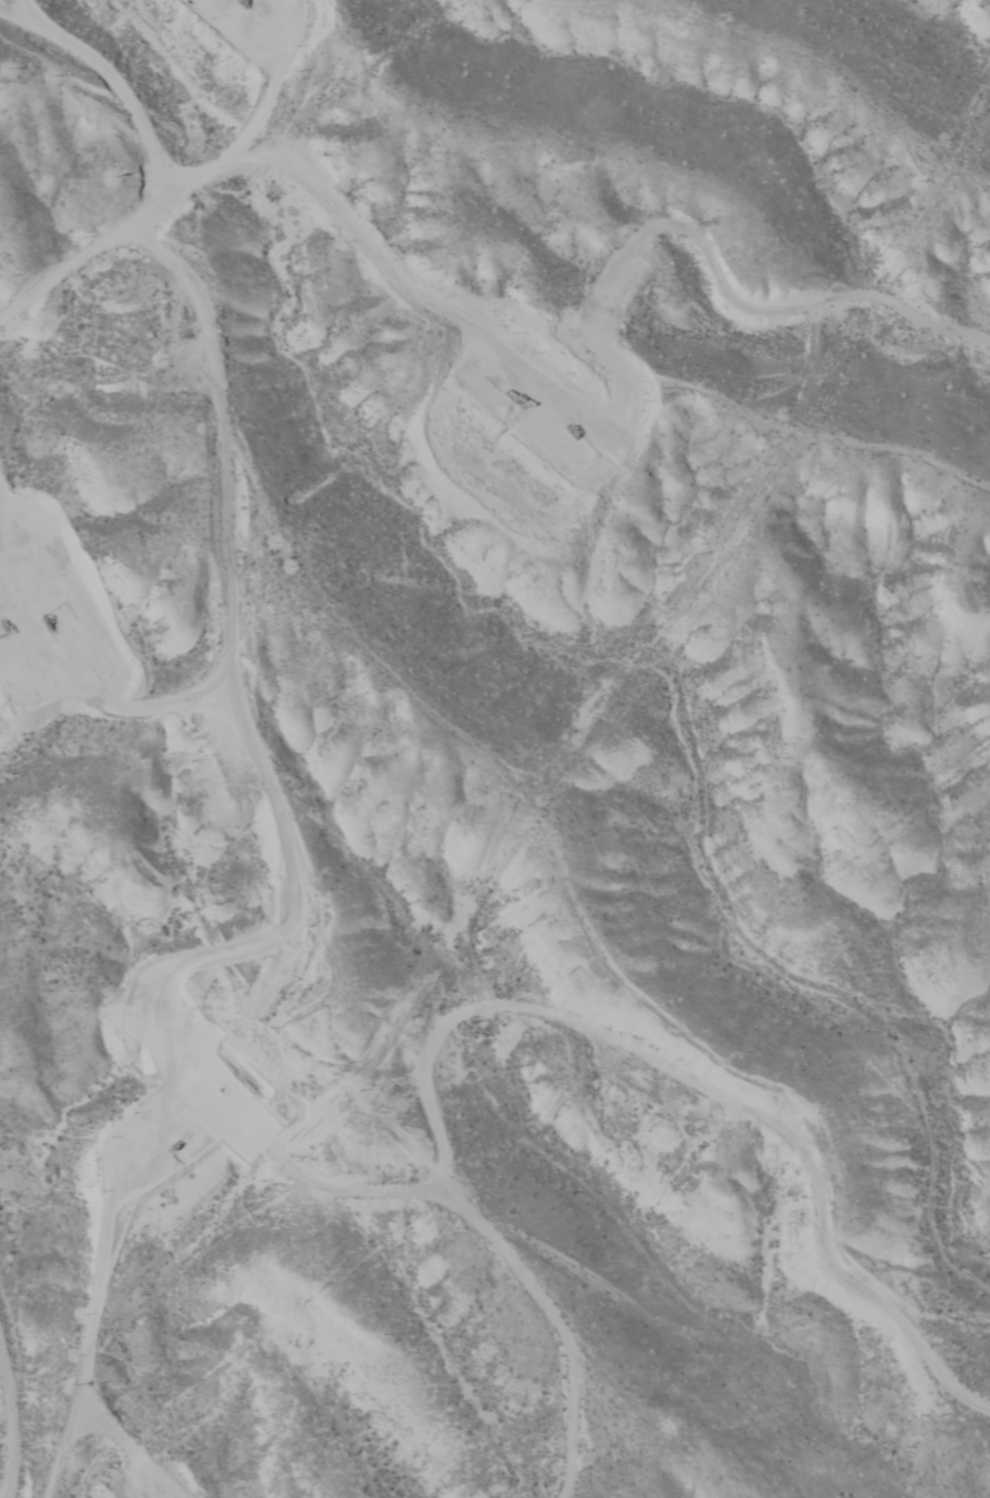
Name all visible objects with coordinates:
road: (474, 149)
road: (312, 579)
road: (692, 1031)
road: (310, 1105)
road: (747, 1319)
road: (69, 1496)
road: (83, 1496)

